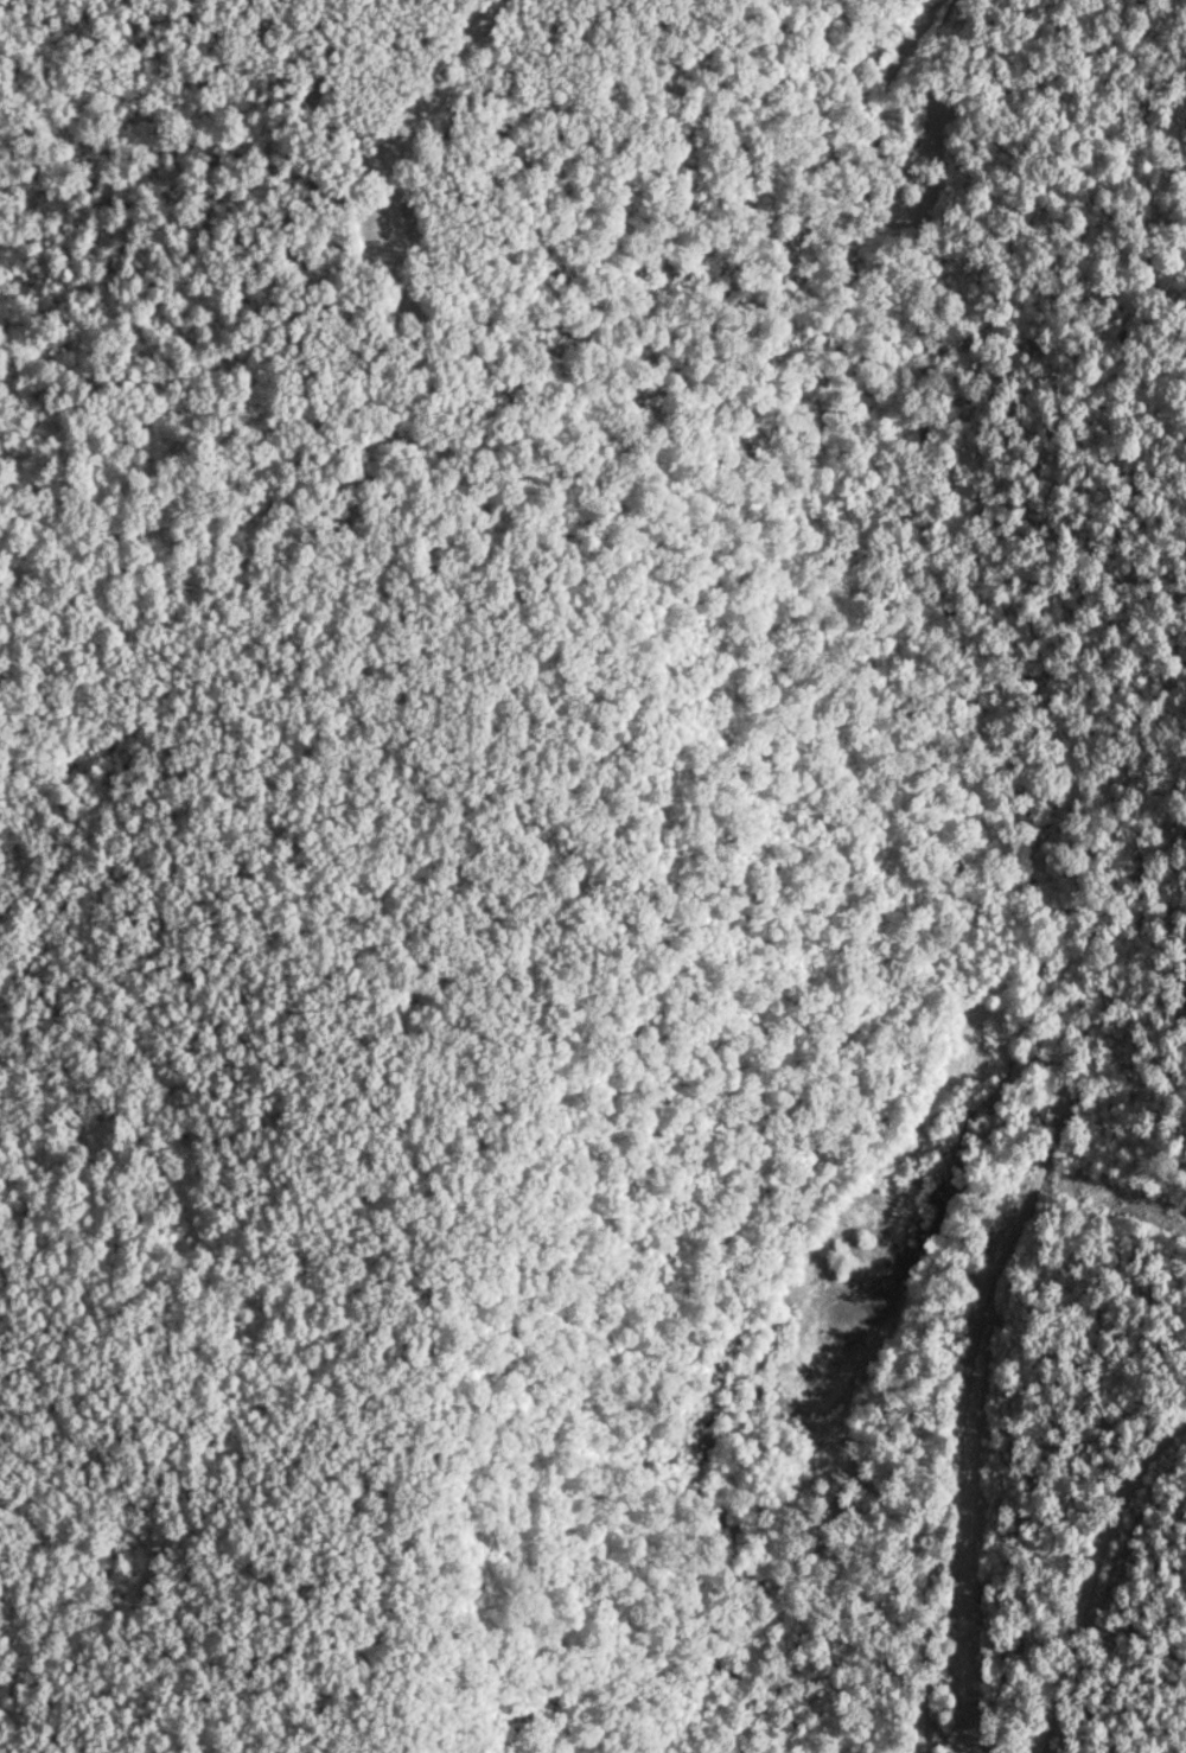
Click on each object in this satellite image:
road: (1088, 1574)

